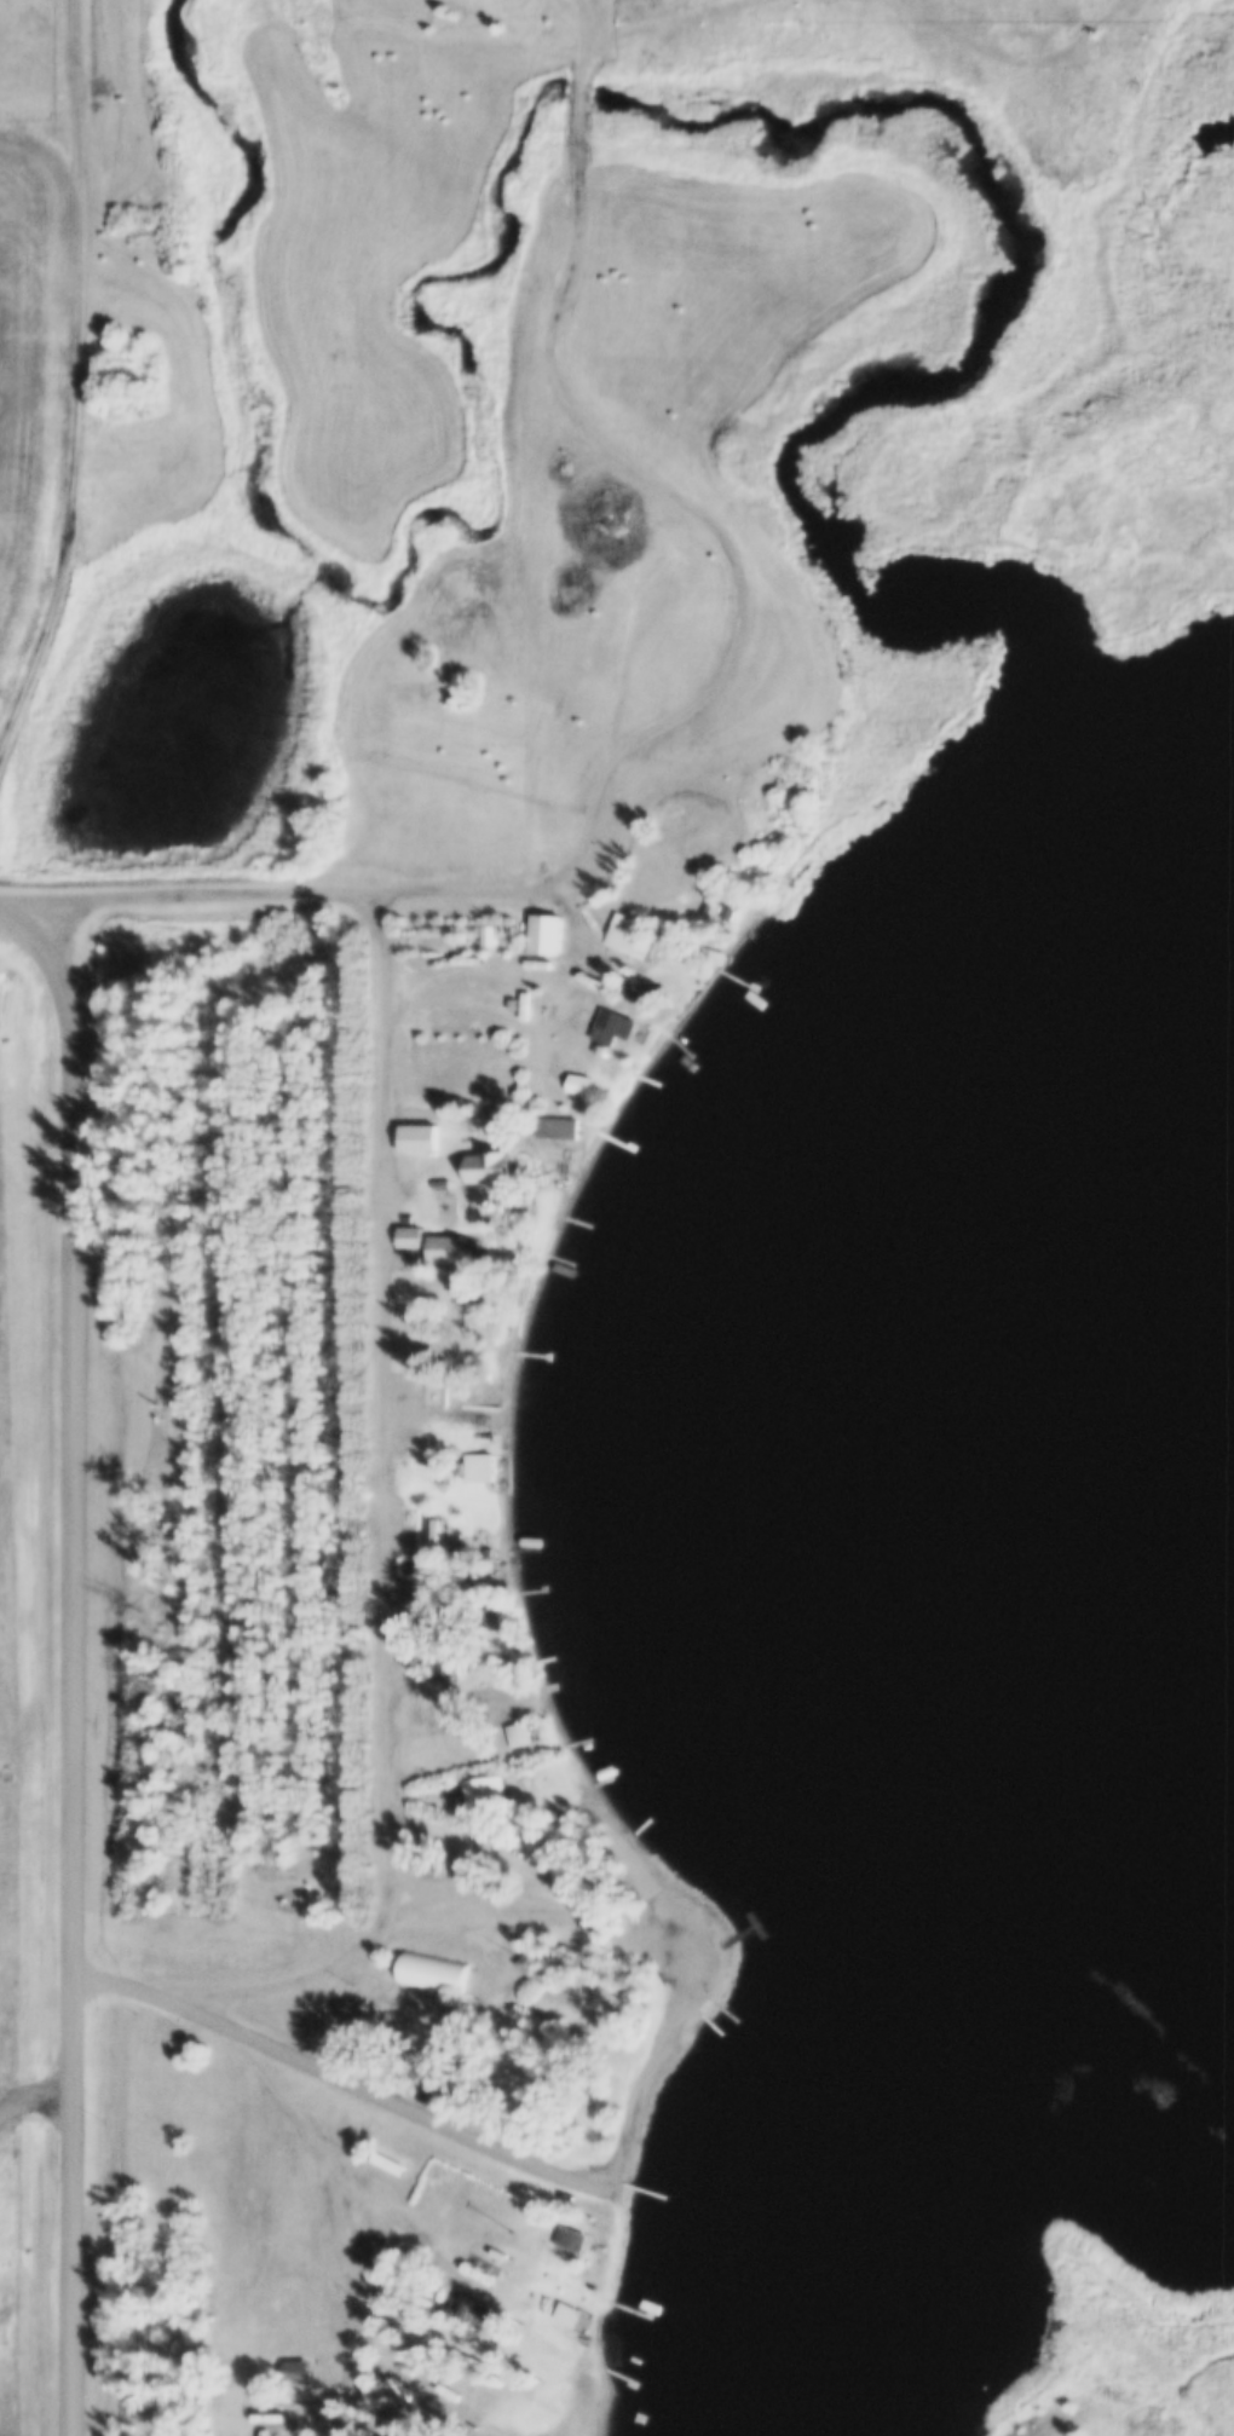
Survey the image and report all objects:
road: (69, 376)
road: (665, 485)
building: (611, 490)
road: (276, 891)
road: (31, 896)
building: (544, 922)
building: (628, 924)
building: (484, 927)
building: (709, 947)
building: (635, 979)
building: (512, 994)
building: (610, 1018)
building: (577, 1073)
building: (578, 1086)
building: (492, 1102)
building: (555, 1118)
building: (419, 1122)
building: (555, 1128)
building: (413, 1138)
building: (489, 1154)
building: (439, 1171)
building: (518, 1189)
building: (411, 1219)
building: (445, 1235)
building: (440, 1252)
building: (455, 1275)
building: (473, 1303)
building: (432, 1381)
building: (478, 1457)
building: (440, 1518)
building: (432, 1525)
road: (384, 1528)
building: (421, 1554)
building: (471, 1568)
building: (482, 1611)
building: (445, 1650)
road: (75, 1666)
building: (474, 1725)
building: (518, 1725)
building: (517, 1736)
building: (578, 1778)
building: (483, 1779)
building: (552, 1805)
road: (474, 1831)
road: (411, 1876)
road: (478, 1883)
road: (650, 1938)
building: (529, 1949)
building: (530, 1961)
building: (431, 1963)
road: (115, 1981)
road: (399, 2008)
road: (388, 2101)
road: (299, 2115)
building: (388, 2153)
building: (388, 2166)
building: (570, 2229)
building: (376, 2250)
building: (385, 2274)
building: (377, 2286)
building: (561, 2303)
building: (472, 2307)
building: (567, 2317)
building: (563, 2357)
building: (294, 2362)
building: (298, 2374)

